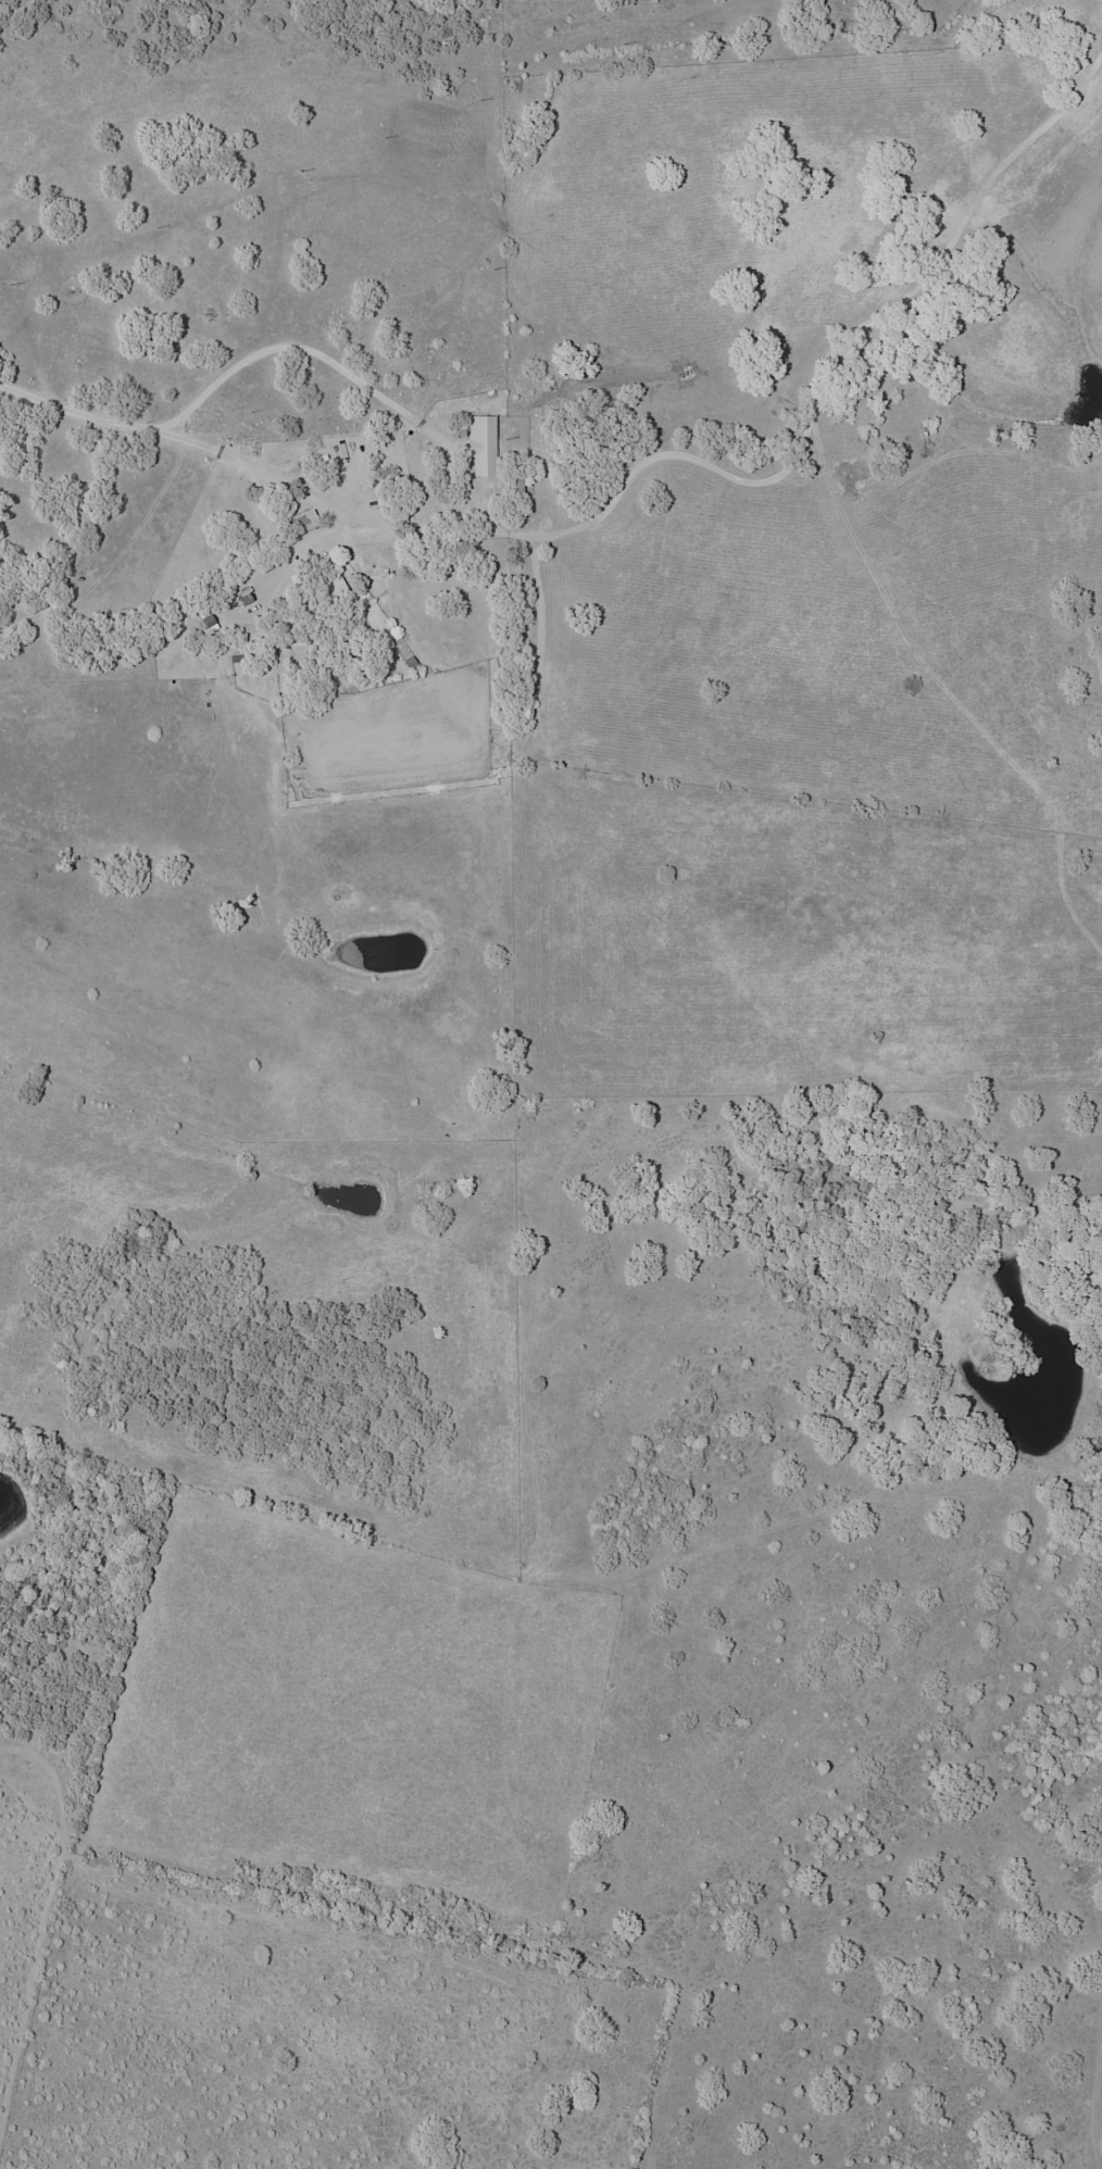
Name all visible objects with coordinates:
road: (102, 421)
building: (481, 447)
building: (510, 485)
building: (303, 524)
building: (330, 593)
building: (251, 601)
building: (205, 619)
building: (289, 638)
building: (502, 663)
building: (524, 685)

